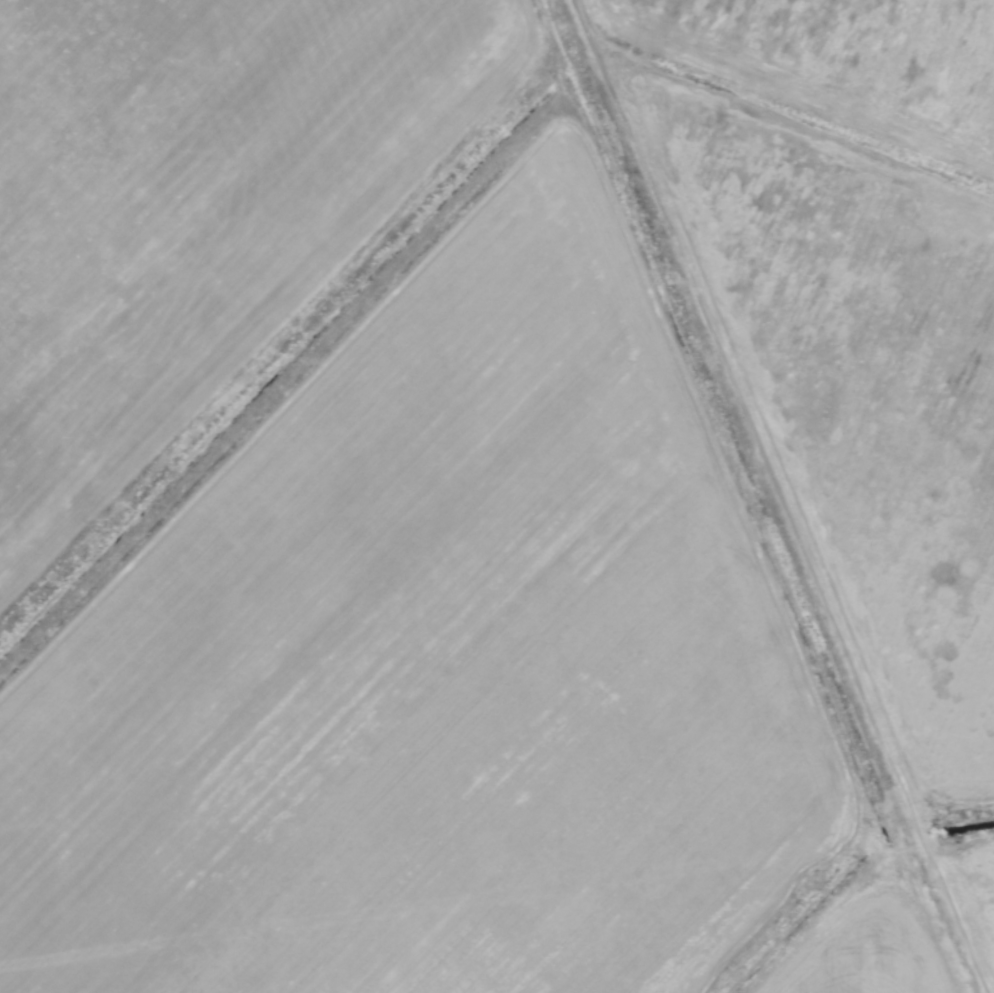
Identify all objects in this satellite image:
crop: (978, 887)

